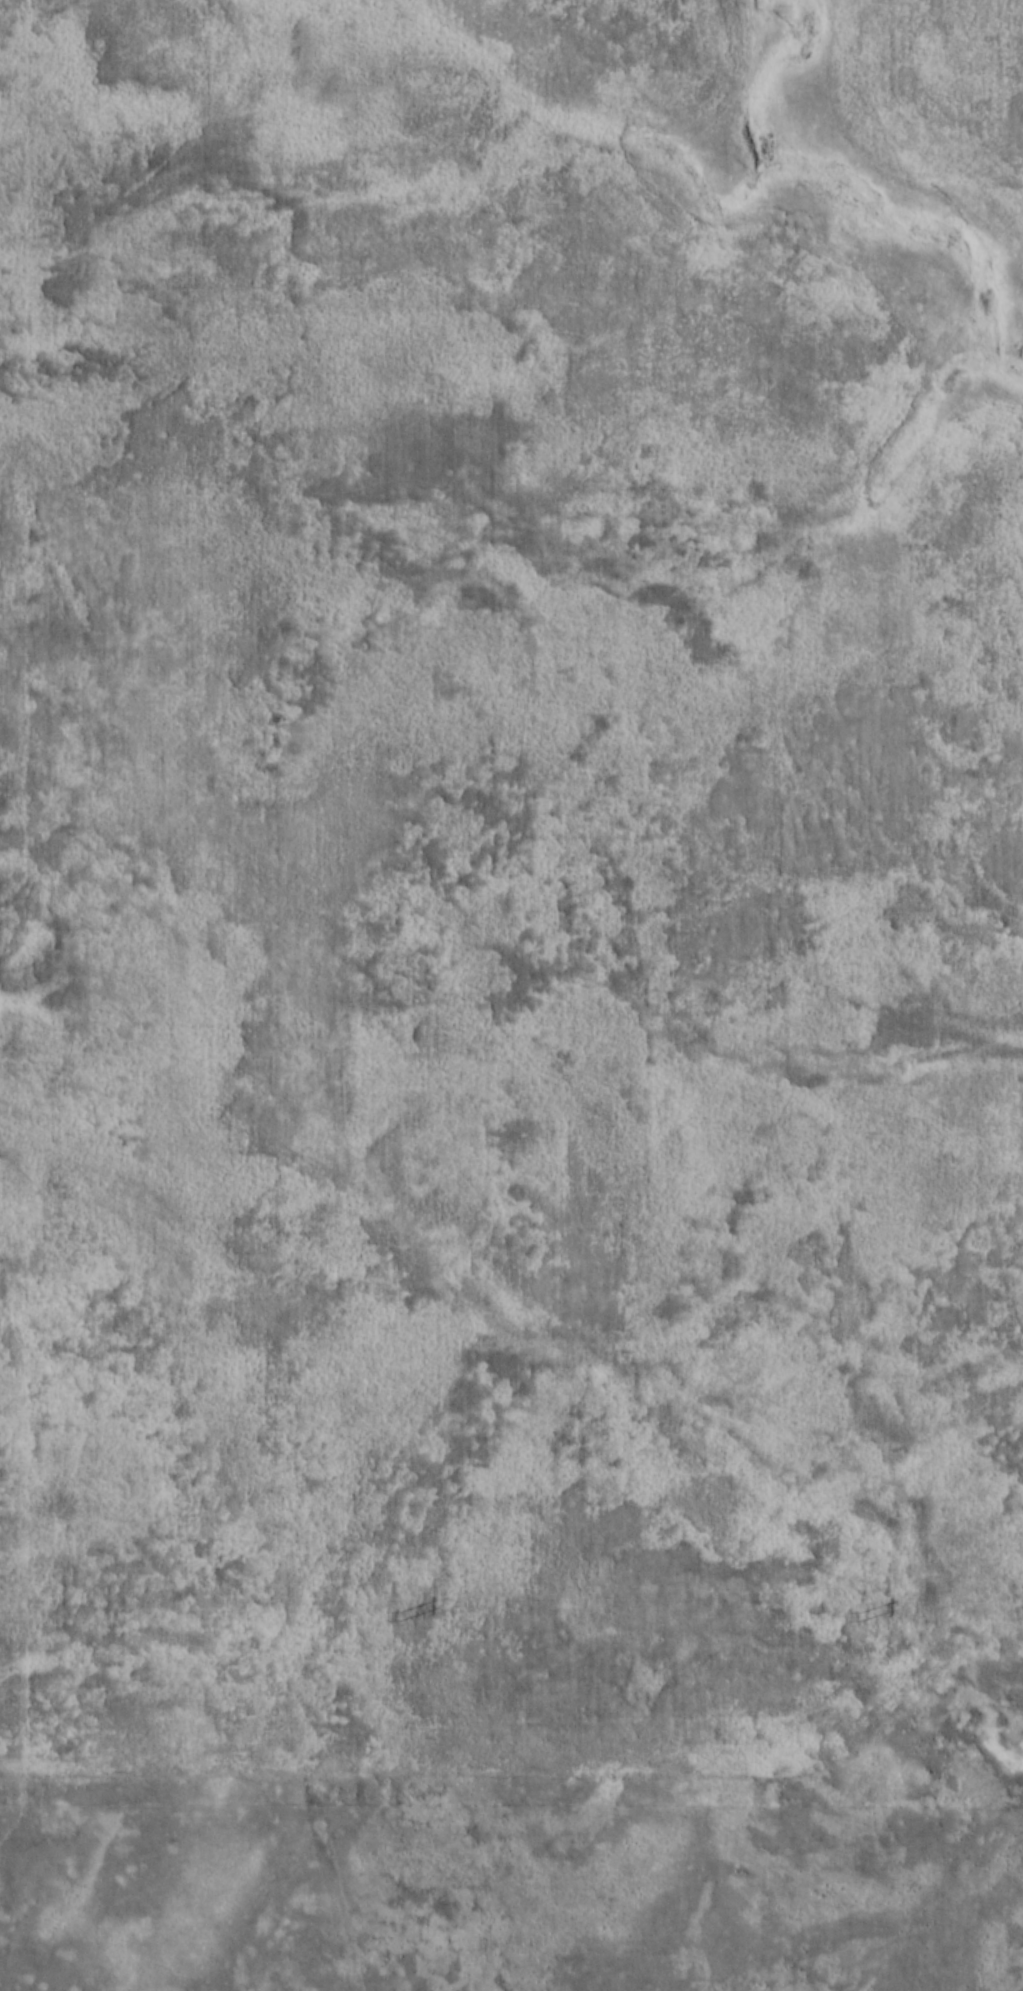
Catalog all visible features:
power tower: (402, 1616)
power tower: (862, 1617)

